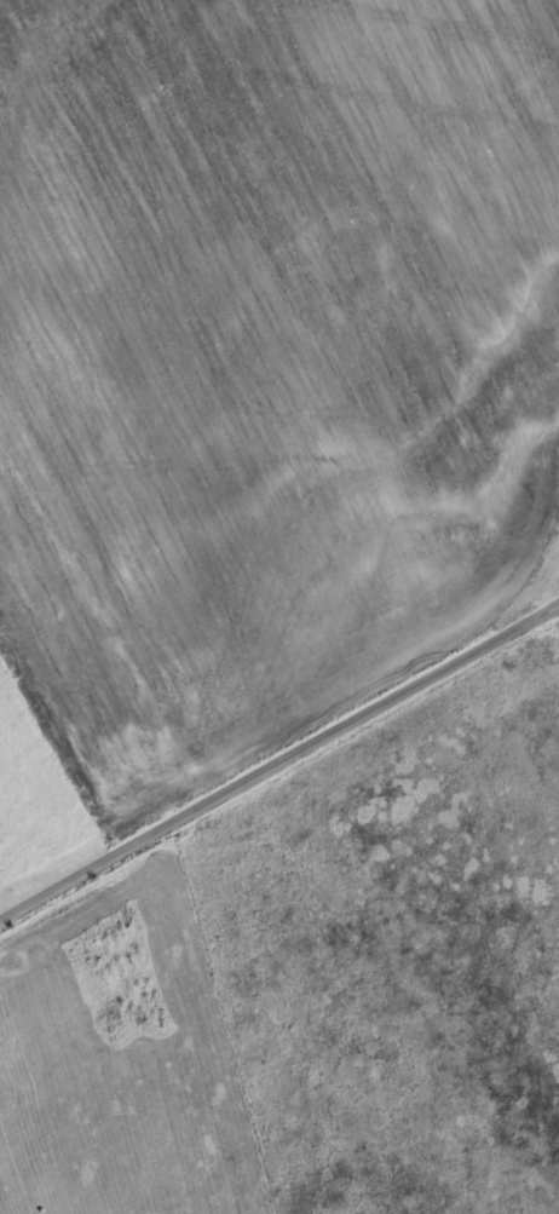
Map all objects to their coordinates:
road: (278, 760)

